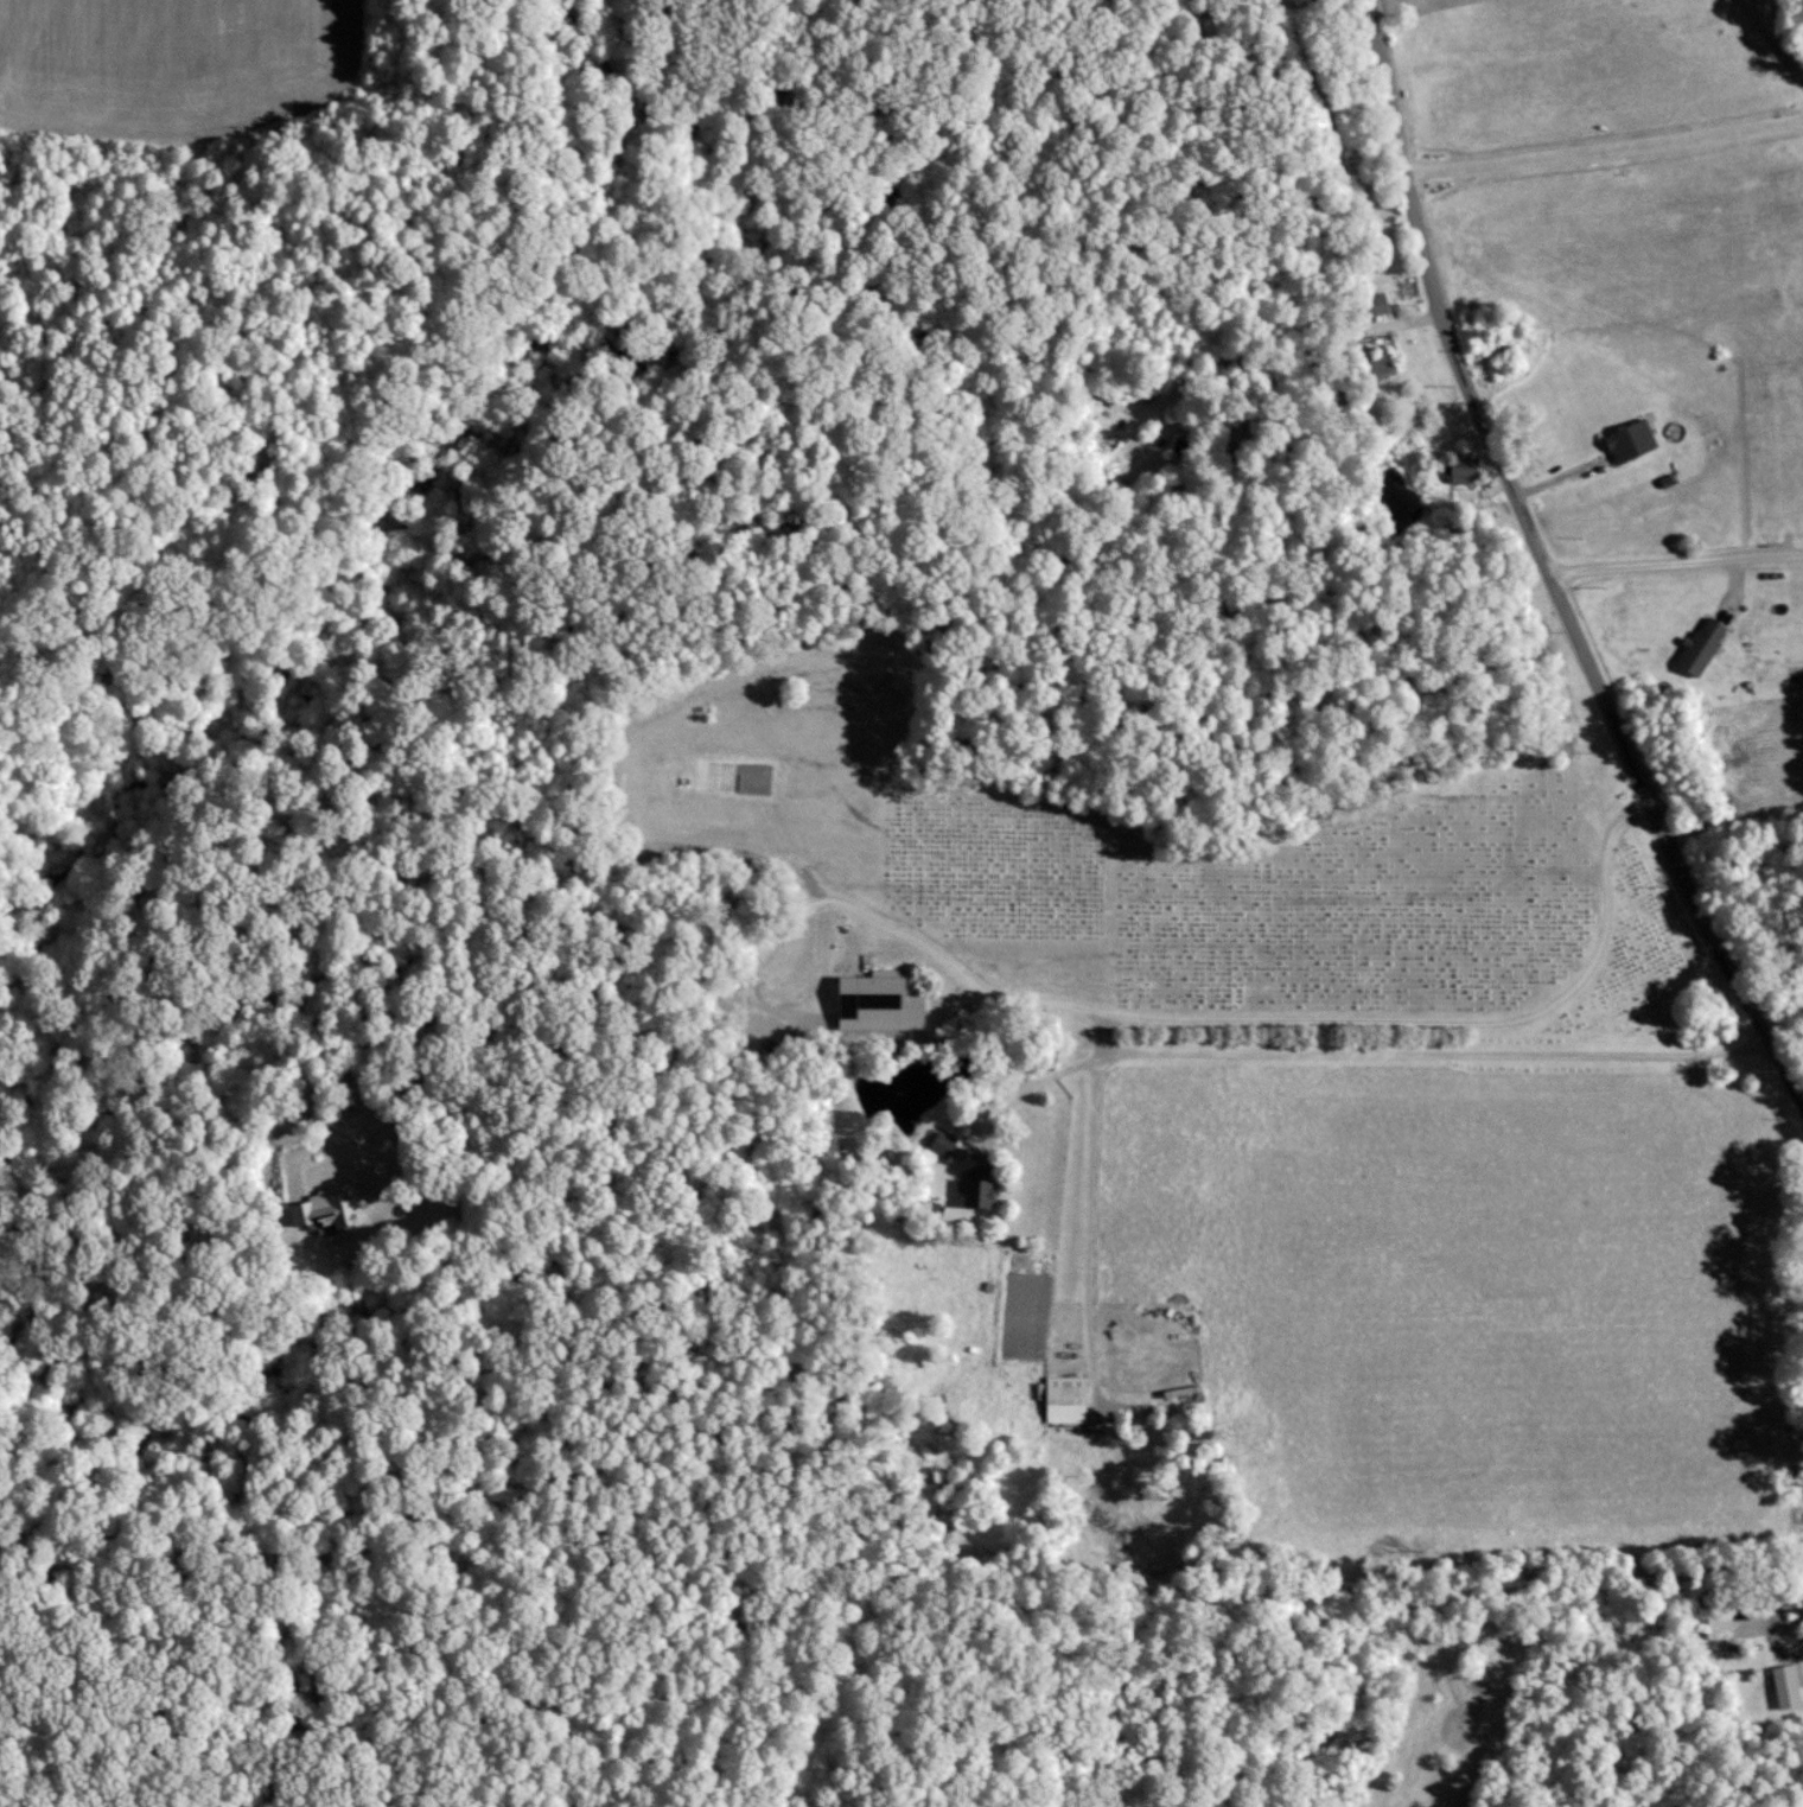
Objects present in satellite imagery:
road: (1604, 147)
building: (1370, 303)
building: (1378, 365)
building: (1625, 439)
building: (1454, 467)
road: (1677, 556)
road: (1547, 564)
building: (1696, 645)
road: (968, 981)
building: (877, 1004)
road: (1345, 1050)
building: (937, 1143)
building: (973, 1192)
building: (332, 1208)
road: (1089, 1228)
building: (1060, 1399)
building: (1714, 1618)
building: (1784, 1684)

